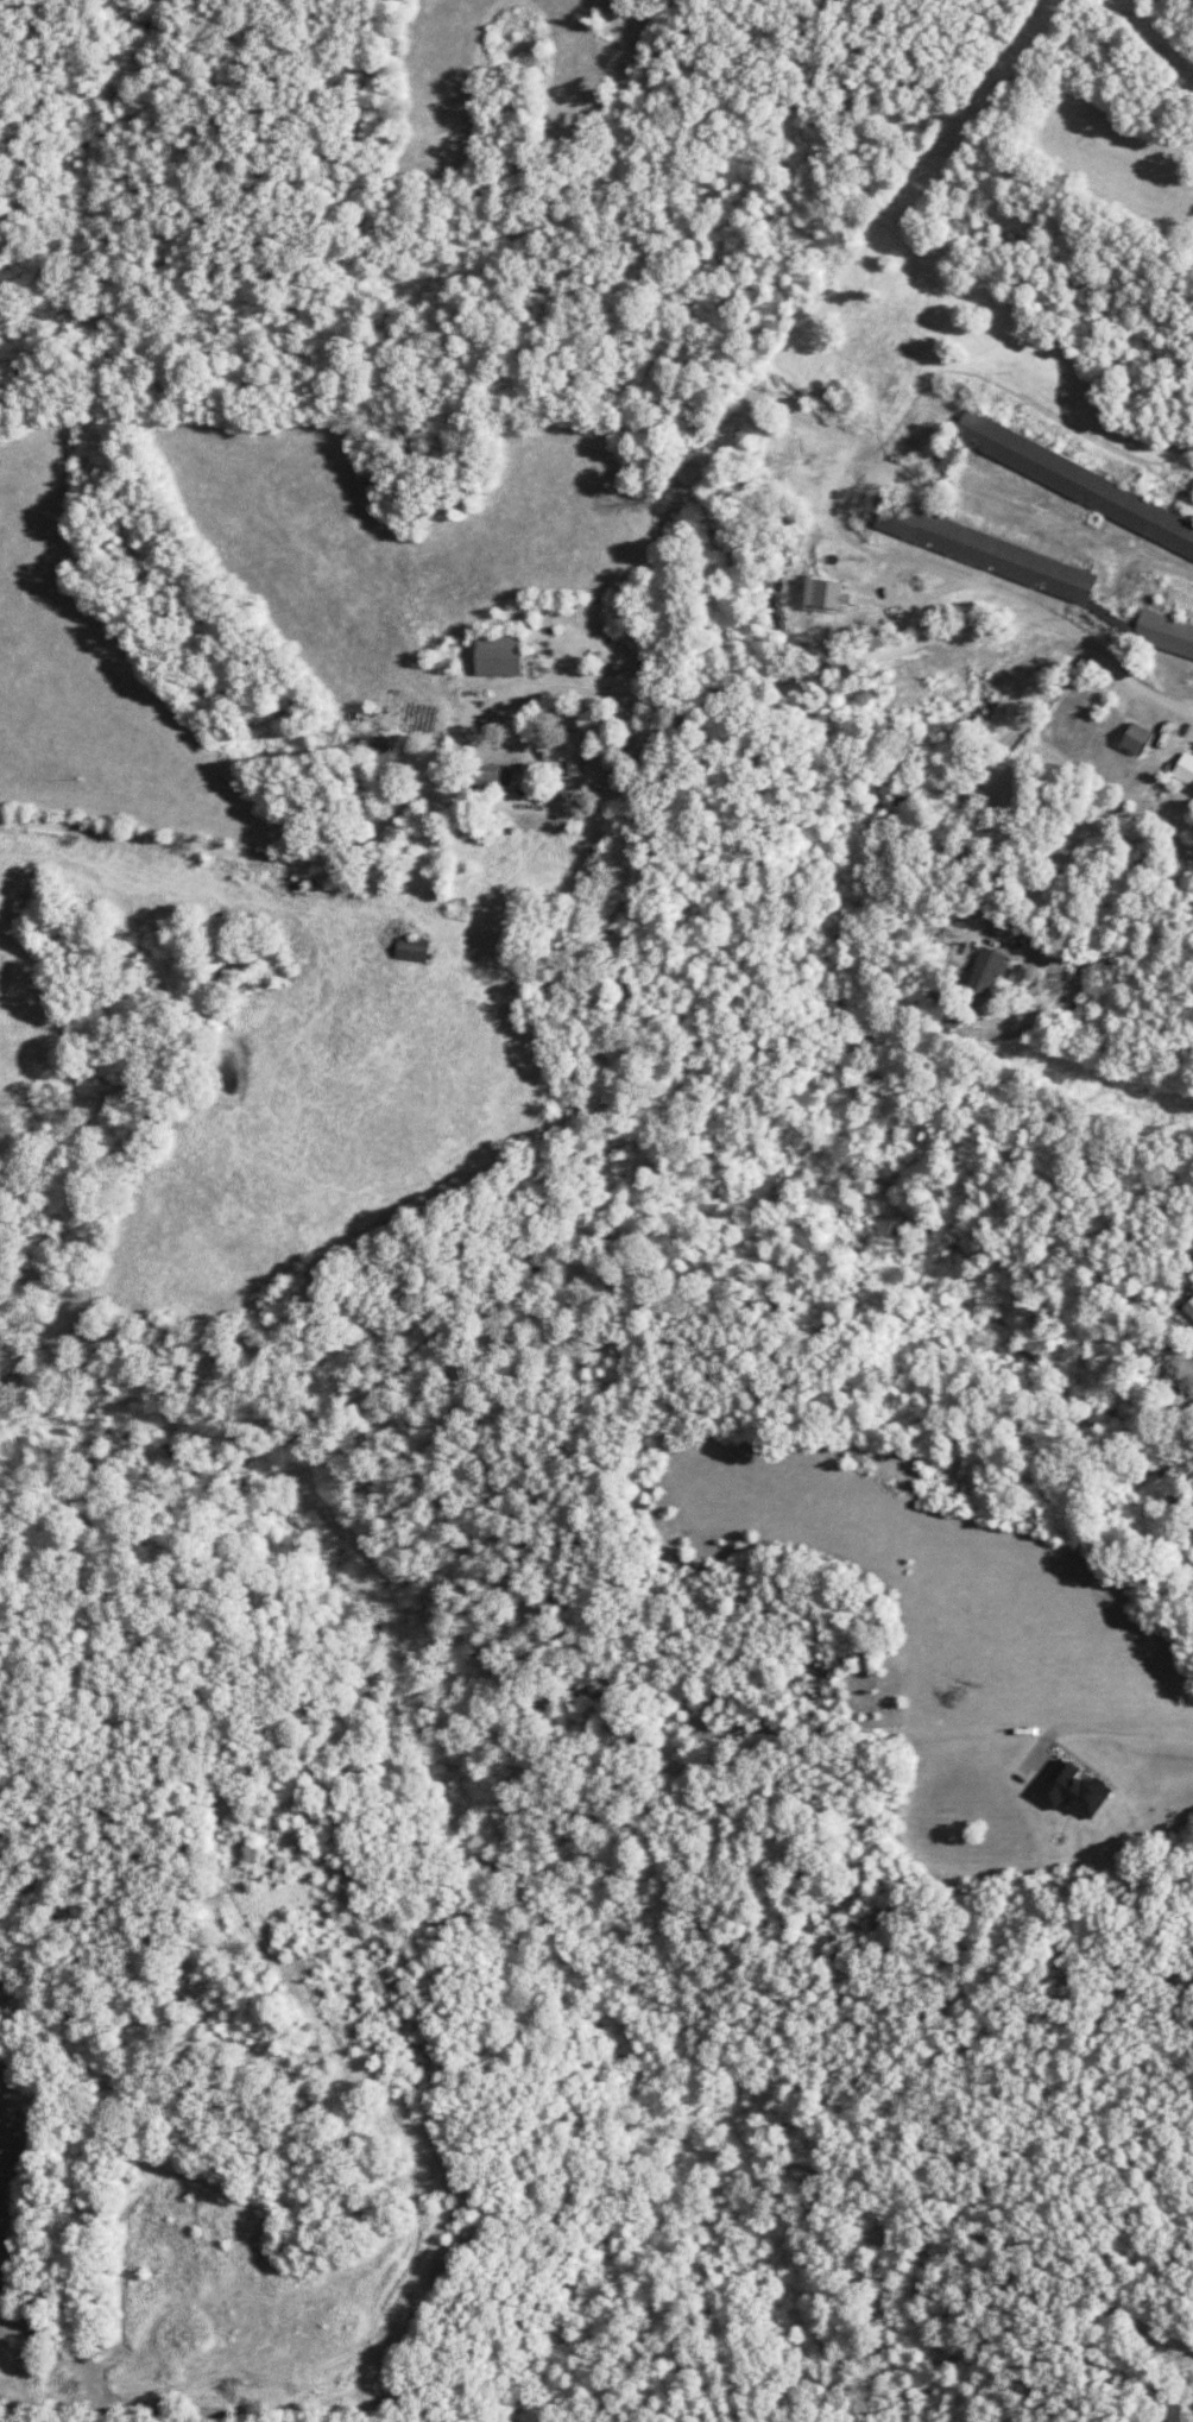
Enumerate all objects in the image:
building: (1075, 482)
building: (985, 550)
building: (825, 593)
building: (498, 656)
road: (585, 693)
building: (1135, 738)
building: (564, 751)
building: (1183, 770)
building: (491, 775)
building: (411, 948)
building: (985, 972)
building: (1188, 1307)
road: (1099, 1732)
building: (1071, 1790)
building: (1168, 2412)

